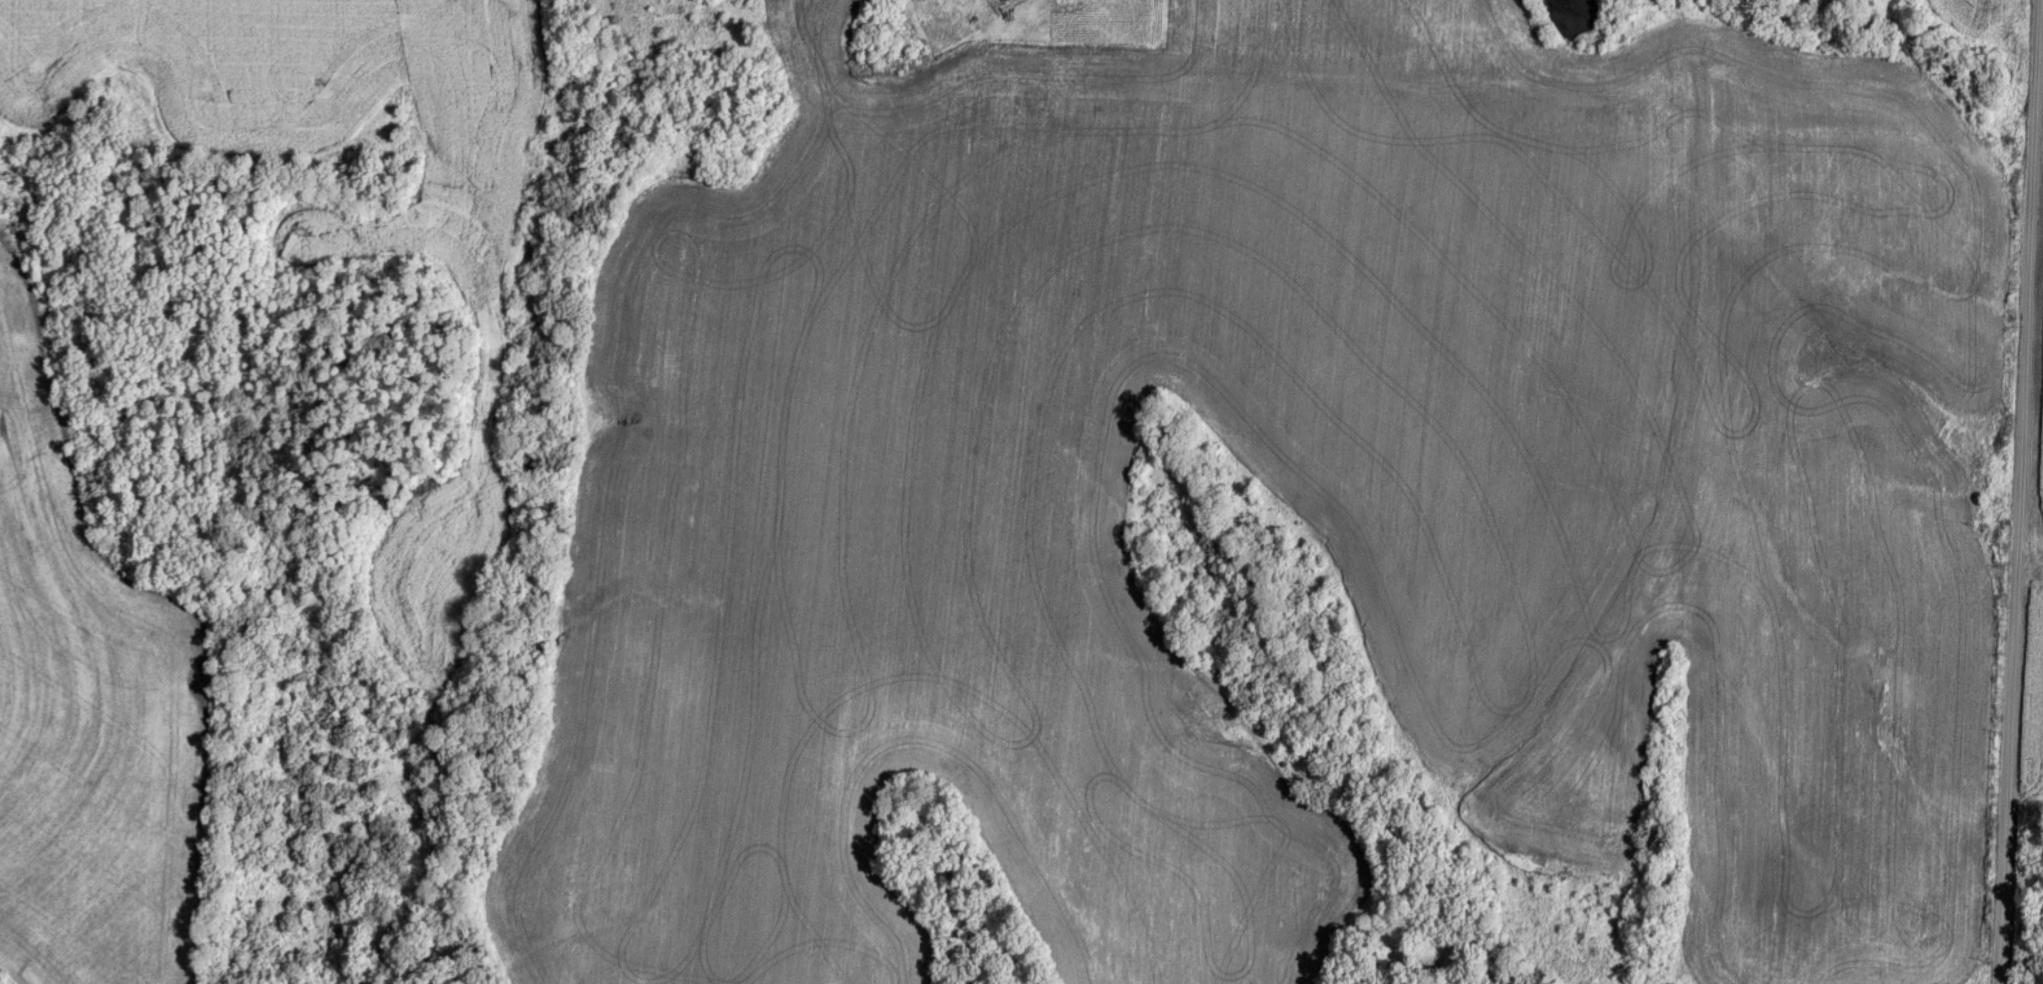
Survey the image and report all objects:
road: (2019, 492)

